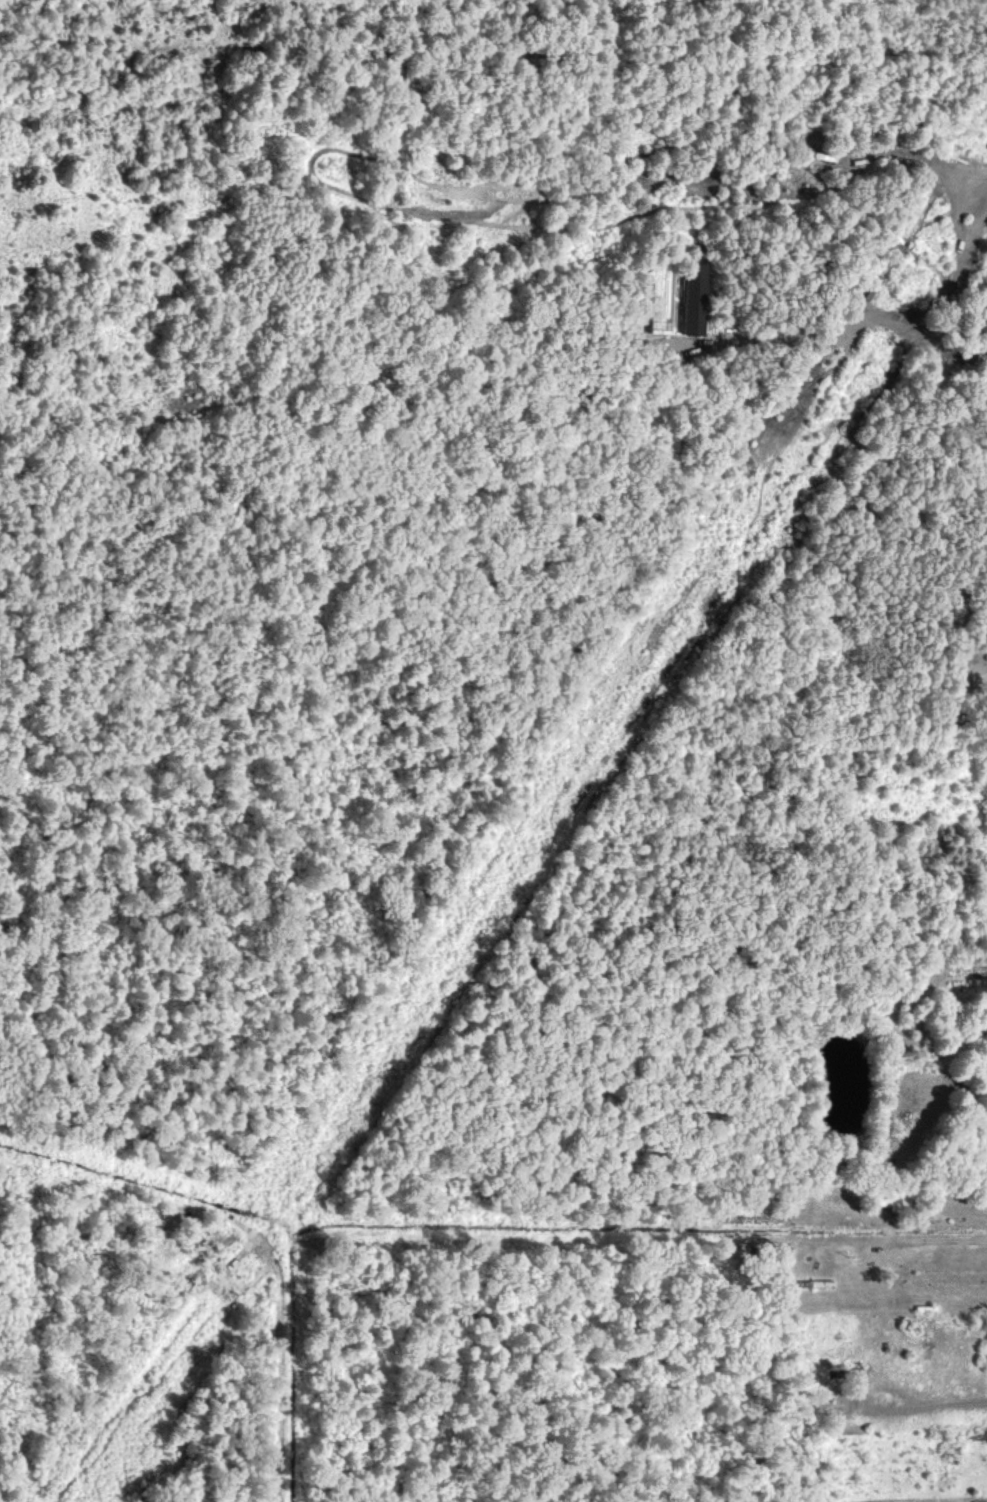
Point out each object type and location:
building: (693, 297)
road: (862, 1210)
road: (929, 1408)

